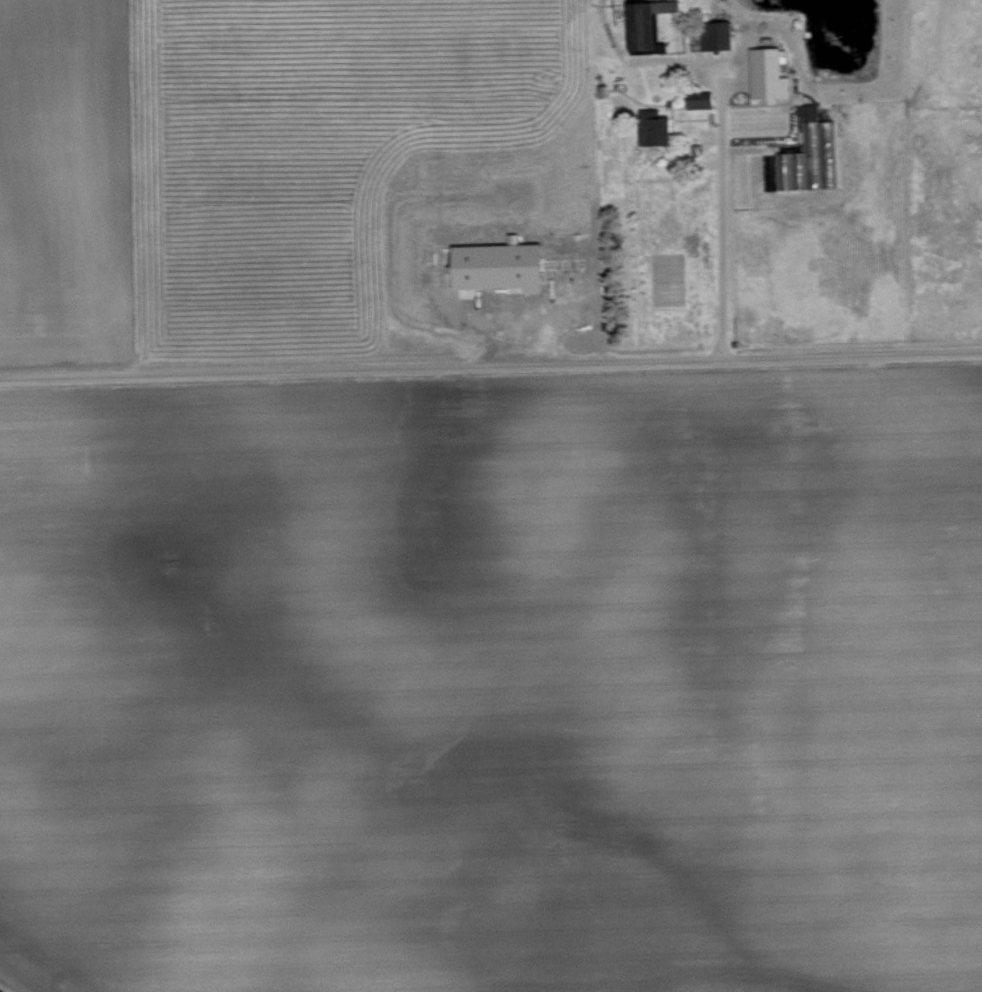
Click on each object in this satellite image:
building: (647, 21)
building: (717, 34)
building: (768, 73)
building: (659, 131)
building: (809, 155)
road: (718, 237)
building: (499, 265)
road: (490, 364)

